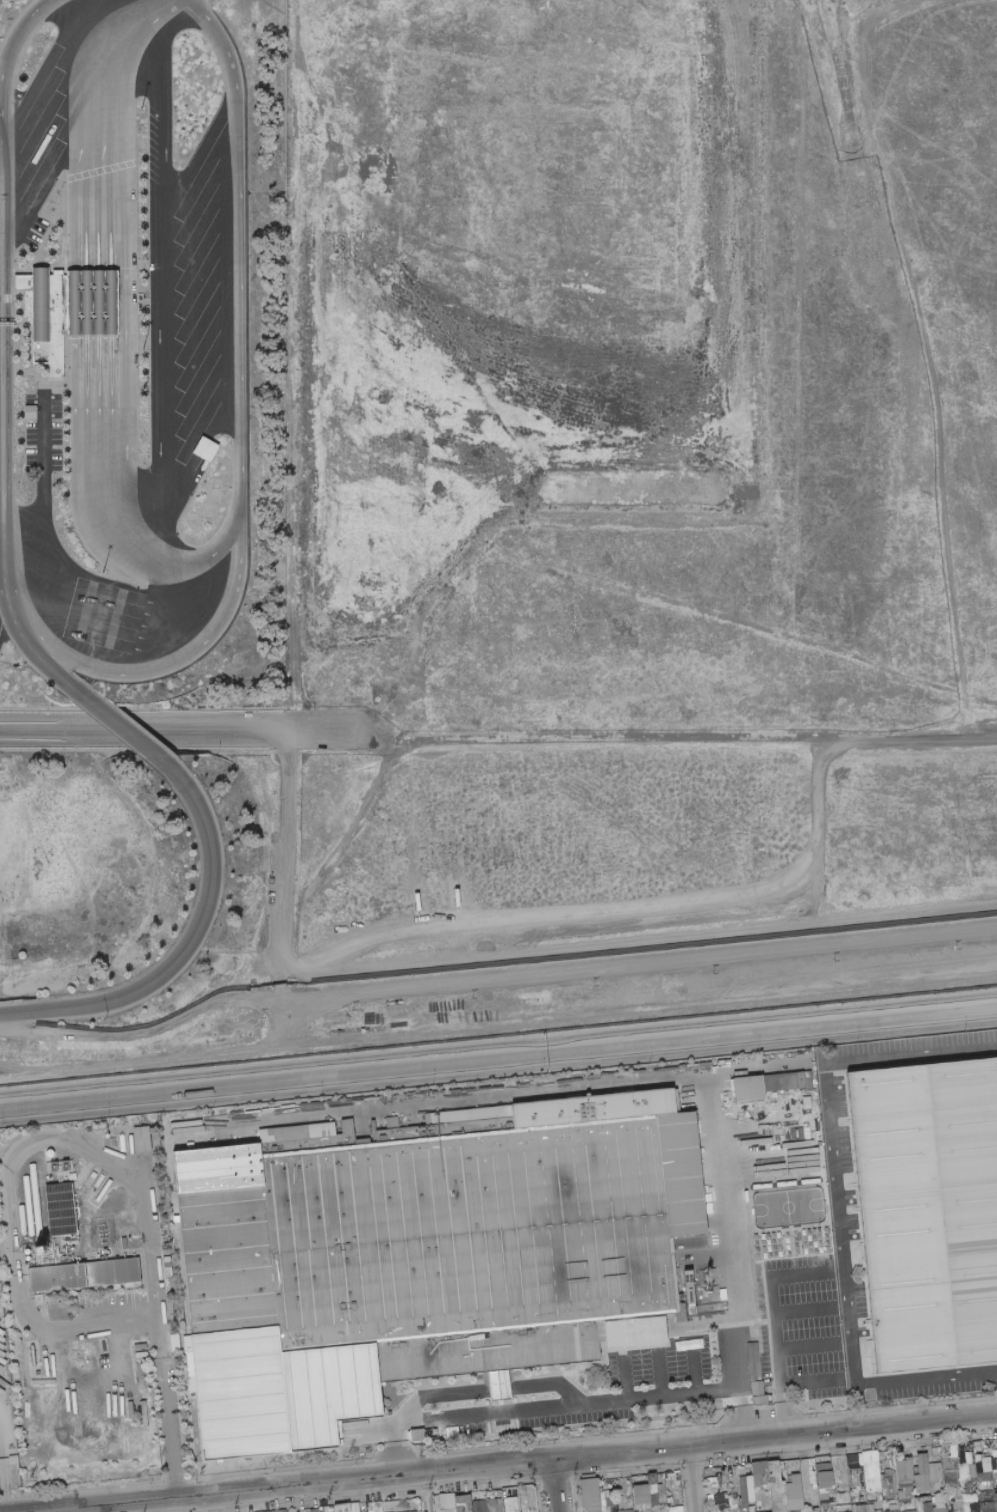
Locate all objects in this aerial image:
road: (14, 34)
road: (161, 98)
parking lot: (38, 138)
road: (200, 150)
building: (25, 282)
road: (125, 300)
building: (95, 302)
road: (109, 304)
parking lot: (200, 306)
road: (906, 306)
road: (83, 315)
building: (40, 316)
road: (72, 327)
road: (97, 337)
road: (5, 346)
road: (157, 367)
road: (240, 442)
building: (209, 449)
road: (1, 527)
road: (1, 581)
road: (1, 590)
road: (19, 635)
road: (959, 720)
road: (124, 731)
road: (179, 731)
road: (571, 922)
road: (188, 946)
road: (520, 948)
road: (495, 973)
road: (280, 981)
road: (498, 1024)
road: (498, 1057)
building: (702, 1064)
building: (783, 1081)
building: (747, 1088)
building: (141, 1139)
road: (133, 1180)
building: (930, 1205)
road: (837, 1207)
building: (60, 1209)
parking lot: (914, 1211)
building: (162, 1232)
building: (128, 1237)
building: (453, 1238)
building: (133, 1254)
building: (166, 1259)
building: (165, 1268)
building: (111, 1272)
building: (56, 1277)
road: (775, 1277)
building: (39, 1299)
road: (17, 1307)
road: (796, 1314)
building: (759, 1327)
building: (759, 1333)
building: (174, 1335)
building: (174, 1345)
road: (800, 1349)
building: (240, 1350)
building: (190, 1365)
road: (693, 1366)
road: (658, 1371)
road: (624, 1375)
road: (775, 1376)
building: (140, 1377)
building: (289, 1381)
building: (499, 1381)
road: (548, 1383)
building: (381, 1384)
road: (805, 1386)
road: (500, 1388)
road: (440, 1393)
building: (758, 1399)
building: (767, 1401)
road: (566, 1403)
road: (170, 1409)
road: (742, 1412)
building: (429, 1431)
building: (411, 1435)
building: (430, 1435)
road: (776, 1436)
road: (394, 1446)
building: (880, 1454)
building: (898, 1454)
building: (954, 1454)
building: (984, 1455)
building: (968, 1457)
building: (992, 1458)
building: (12, 1459)
building: (932, 1462)
building: (854, 1463)
building: (949, 1463)
building: (981, 1463)
building: (869, 1464)
building: (910, 1466)
building: (737, 1469)
building: (902, 1469)
building: (993, 1469)
building: (748, 1470)
building: (914, 1470)
building: (970, 1470)
building: (884, 1471)
building: (962, 1471)
building: (883, 1472)
building: (920, 1473)
building: (192, 1474)
building: (759, 1474)
building: (664, 1475)
building: (821, 1475)
building: (882, 1475)
building: (951, 1476)
building: (982, 1476)
building: (664, 1479)
road: (690, 1479)
building: (840, 1479)
building: (651, 1480)
building: (891, 1480)
building: (856, 1481)
building: (903, 1481)
building: (718, 1482)
building: (829, 1482)
building: (711, 1483)
building: (871, 1483)
road: (292, 1485)
road: (557, 1485)
building: (886, 1485)
building: (951, 1485)
building: (810, 1487)
building: (966, 1488)
building: (745, 1489)
building: (760, 1489)
building: (889, 1490)
building: (904, 1490)
road: (422, 1491)
building: (657, 1491)
building: (853, 1492)
building: (509, 1493)
building: (660, 1493)
building: (977, 1493)
building: (639, 1494)
building: (652, 1495)
building: (886, 1495)
building: (590, 1496)
building: (906, 1496)
building: (956, 1496)
building: (526, 1497)
building: (858, 1497)
building: (885, 1497)
building: (948, 1497)
building: (968, 1497)
building: (841, 1498)
building: (441, 1500)
building: (449, 1500)
building: (822, 1500)
building: (903, 1500)
building: (718, 1501)
building: (994, 1501)
building: (668, 1502)
building: (674, 1502)
building: (760, 1502)
building: (919, 1502)
building: (609, 1503)
building: (731, 1503)
building: (899, 1503)
road: (1, 1504)
building: (510, 1504)
building: (877, 1504)
building: (892, 1504)
building: (911, 1504)
building: (956, 1504)
building: (486, 1505)
building: (494, 1505)
building: (938, 1505)
building: (374, 1506)
building: (462, 1506)
building: (477, 1506)
building: (742, 1506)
building: (986, 1506)
building: (519, 1507)
building: (645, 1507)
building: (892, 1507)
building: (899, 1507)
building: (925, 1507)
building: (970, 1507)
building: (341, 1508)
building: (863, 1508)
building: (326, 1509)
building: (446, 1509)
building: (674, 1509)
building: (734, 1509)
building: (750, 1509)
building: (814, 1509)
building: (820, 1509)
building: (313, 1510)
building: (584, 1510)
building: (624, 1510)
building: (877, 1510)
building: (892, 1510)
building: (948, 1510)
road: (43, 1511)
building: (267, 1511)
building: (279, 1511)
building: (372, 1511)
building: (378, 1511)
building: (413, 1511)
building: (417, 1511)
building: (531, 1511)
building: (613, 1511)
building: (719, 1511)
building: (728, 1511)
building: (738, 1511)
building: (776, 1511)
building: (783, 1511)
building: (795, 1511)
building: (907, 1511)

